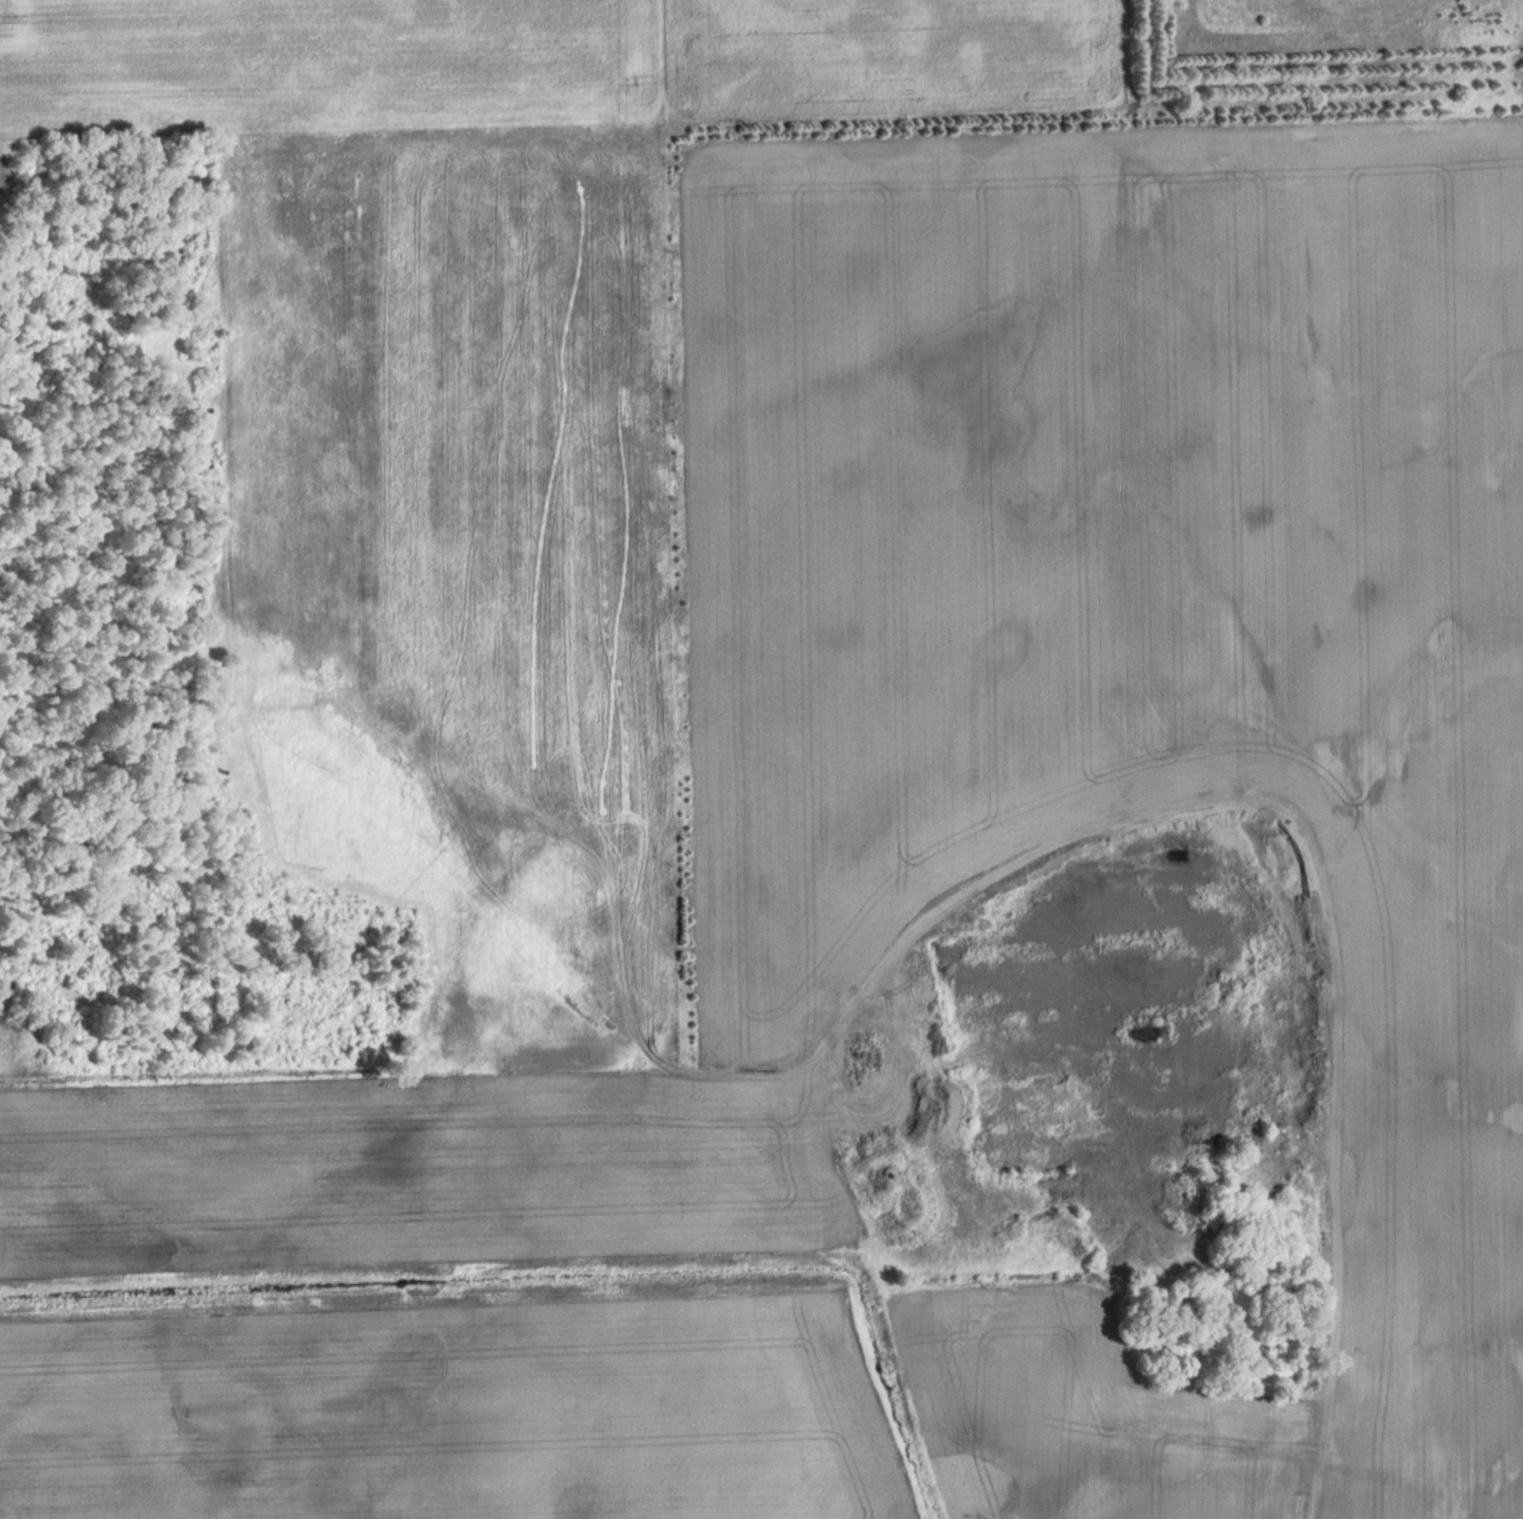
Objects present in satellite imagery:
road: (1310, 1447)

